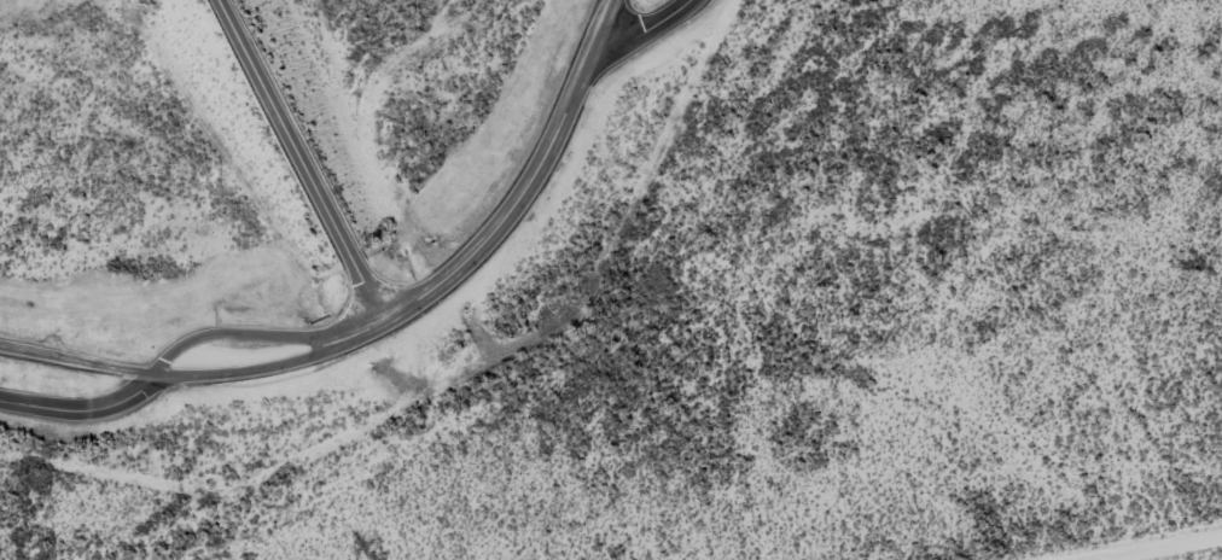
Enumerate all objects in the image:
road: (610, 19)
road: (647, 24)
road: (301, 161)
road: (507, 216)
road: (245, 333)
road: (78, 357)
road: (256, 369)
road: (82, 408)

